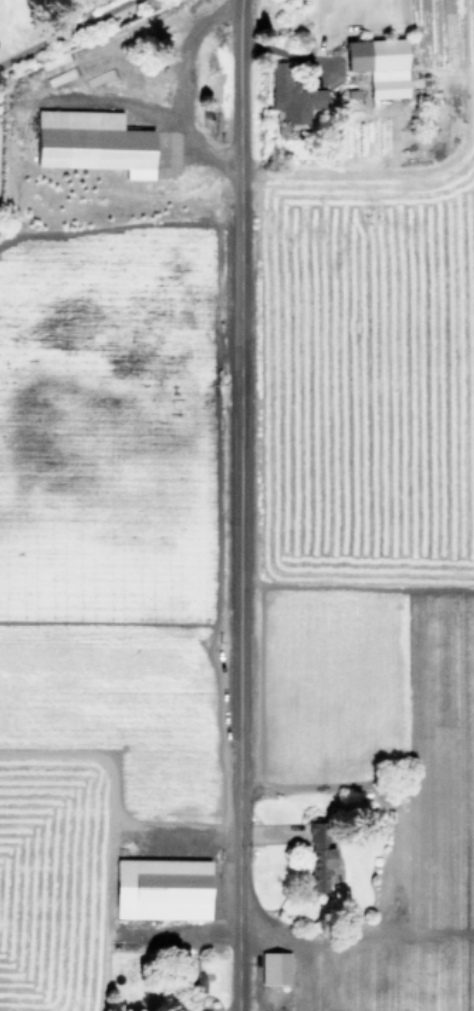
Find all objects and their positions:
road: (64, 33)
building: (380, 65)
road: (180, 88)
building: (292, 95)
road: (111, 99)
building: (92, 141)
road: (238, 505)
crop: (389, 601)
crop: (86, 621)
building: (319, 855)
building: (162, 888)
building: (275, 968)
building: (193, 977)

